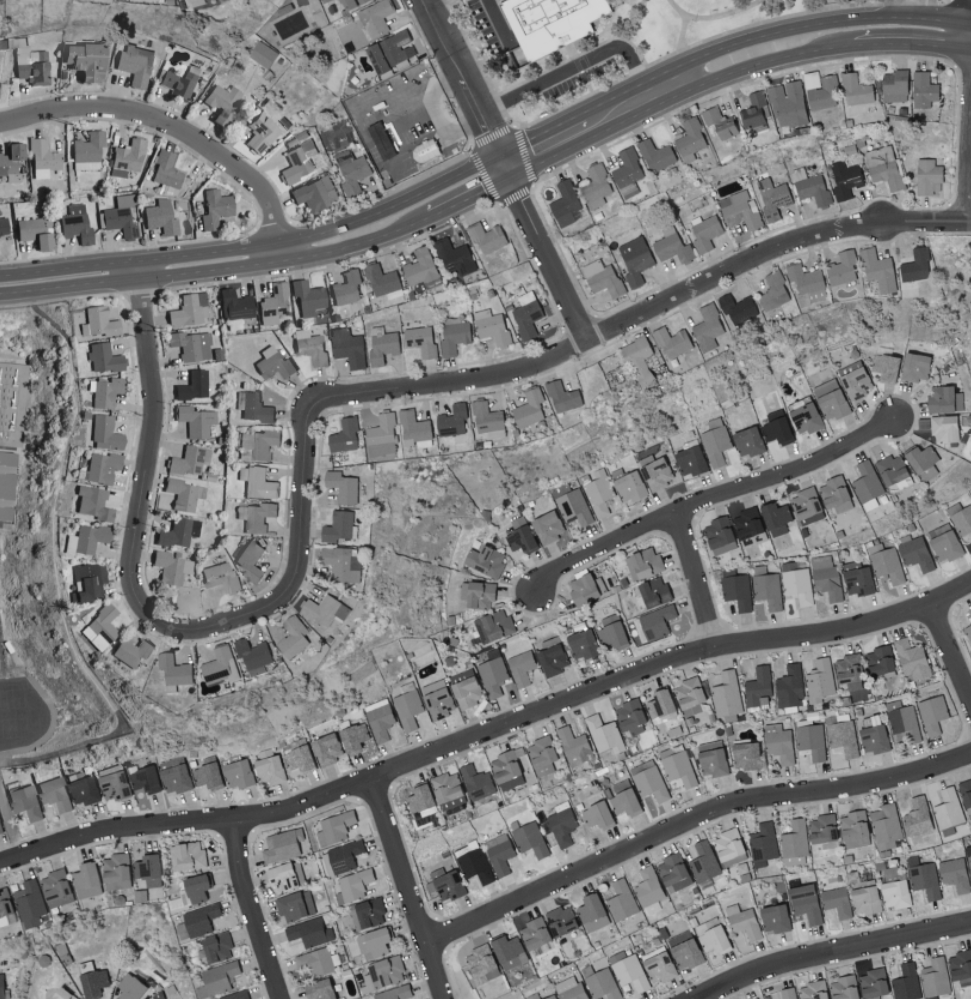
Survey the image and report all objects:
building: (349, 3)
road: (434, 5)
road: (726, 17)
building: (375, 18)
road: (885, 18)
road: (811, 21)
road: (498, 22)
building: (554, 23)
road: (682, 36)
park: (640, 46)
building: (391, 50)
building: (262, 54)
building: (79, 60)
building: (28, 63)
building: (133, 64)
road: (577, 66)
road: (729, 68)
parking lot: (572, 78)
building: (176, 83)
road: (463, 85)
building: (894, 86)
building: (195, 88)
building: (856, 90)
building: (923, 90)
building: (219, 100)
building: (787, 104)
building: (753, 111)
building: (716, 124)
road: (171, 127)
road: (362, 128)
building: (259, 132)
building: (422, 139)
building: (690, 140)
building: (380, 141)
building: (86, 150)
building: (655, 155)
building: (41, 157)
building: (9, 162)
building: (297, 162)
building: (883, 167)
building: (352, 173)
building: (627, 173)
building: (928, 177)
building: (845, 179)
building: (596, 186)
building: (810, 187)
building: (314, 194)
building: (773, 195)
building: (564, 204)
building: (213, 208)
building: (738, 211)
building: (159, 217)
building: (120, 219)
building: (74, 223)
building: (2, 226)
building: (32, 232)
building: (704, 233)
building: (486, 238)
road: (328, 245)
building: (672, 247)
road: (547, 255)
road: (772, 257)
building: (455, 258)
building: (634, 260)
building: (915, 266)
building: (421, 269)
building: (841, 269)
building: (877, 271)
building: (601, 278)
road: (68, 279)
building: (382, 281)
building: (806, 284)
building: (345, 288)
building: (773, 292)
building: (306, 297)
building: (273, 304)
building: (233, 305)
building: (187, 309)
building: (736, 310)
building: (526, 318)
building: (97, 322)
building: (491, 327)
building: (707, 328)
building: (454, 335)
building: (420, 341)
building: (671, 342)
building: (189, 345)
building: (310, 346)
building: (347, 347)
building: (102, 358)
building: (637, 360)
building: (272, 363)
building: (884, 368)
building: (914, 368)
building: (855, 384)
building: (191, 386)
building: (561, 397)
building: (829, 400)
building: (943, 400)
building: (253, 407)
building: (528, 409)
building: (15, 413)
road: (313, 417)
building: (804, 419)
building: (194, 420)
building: (487, 420)
building: (452, 422)
building: (414, 429)
building: (942, 429)
building: (776, 430)
building: (104, 431)
building: (380, 435)
building: (343, 436)
building: (714, 442)
building: (746, 443)
building: (258, 444)
building: (919, 459)
building: (188, 460)
building: (689, 462)
road: (150, 465)
building: (100, 467)
building: (891, 470)
building: (654, 472)
building: (866, 482)
building: (257, 483)
building: (627, 485)
building: (342, 487)
building: (182, 493)
building: (598, 493)
building: (10, 495)
building: (834, 495)
road: (711, 498)
building: (90, 502)
building: (573, 507)
building: (806, 507)
building: (255, 517)
building: (774, 519)
building: (963, 523)
building: (339, 527)
building: (546, 528)
building: (748, 528)
building: (177, 532)
building: (718, 537)
building: (86, 538)
building: (519, 540)
building: (943, 543)
building: (916, 554)
building: (249, 561)
building: (484, 561)
building: (341, 564)
building: (644, 564)
building: (886, 564)
building: (169, 567)
building: (219, 577)
building: (825, 577)
road: (696, 579)
building: (857, 580)
building: (84, 582)
building: (798, 586)
building: (587, 588)
building: (767, 588)
building: (737, 591)
building: (477, 595)
building: (651, 595)
building: (324, 611)
building: (969, 612)
building: (656, 623)
building: (2, 624)
building: (493, 626)
building: (98, 627)
building: (968, 631)
building: (612, 633)
building: (292, 637)
building: (582, 645)
road: (950, 648)
building: (130, 651)
building: (552, 657)
building: (911, 659)
building: (878, 660)
building: (216, 665)
building: (521, 668)
building: (173, 671)
building: (849, 671)
building: (492, 676)
building: (820, 680)
building: (757, 687)
building: (789, 687)
building: (466, 692)
building: (726, 694)
building: (689, 696)
building: (659, 703)
building: (438, 704)
building: (407, 707)
building: (629, 714)
building: (932, 714)
building: (379, 720)
building: (903, 723)
road: (487, 732)
building: (603, 734)
building: (872, 734)
building: (353, 738)
building: (842, 739)
building: (810, 741)
building: (778, 743)
building: (573, 746)
building: (326, 749)
building: (745, 755)
building: (541, 756)
building: (711, 759)
building: (297, 760)
building: (677, 765)
building: (504, 766)
building: (267, 770)
building: (237, 775)
building: (206, 776)
building: (176, 779)
building: (145, 780)
building: (649, 780)
building: (476, 782)
building: (511, 782)
building: (114, 786)
building: (83, 791)
building: (448, 793)
building: (54, 794)
building: (966, 795)
building: (418, 798)
building: (623, 801)
building: (25, 802)
building: (947, 808)
building: (595, 814)
building: (917, 817)
building: (562, 824)
building: (885, 826)
building: (334, 827)
building: (822, 828)
building: (854, 829)
building: (0, 831)
road: (692, 834)
building: (530, 839)
building: (795, 843)
building: (763, 844)
building: (281, 845)
building: (727, 845)
building: (499, 854)
building: (968, 854)
building: (187, 856)
building: (343, 856)
building: (703, 862)
building: (475, 865)
building: (146, 866)
building: (116, 872)
building: (673, 872)
building: (954, 874)
building: (281, 878)
building: (86, 880)
building: (925, 880)
building: (447, 884)
building: (353, 886)
building: (195, 888)
road: (408, 888)
building: (56, 889)
building: (649, 891)
building: (895, 894)
building: (140, 896)
building: (865, 897)
building: (621, 901)
building: (836, 902)
building: (5, 903)
building: (805, 903)
building: (30, 904)
building: (295, 905)
road: (254, 913)
building: (367, 913)
building: (591, 913)
building: (774, 919)
building: (561, 920)
building: (742, 921)
building: (196, 922)
building: (309, 933)
building: (533, 933)
building: (712, 941)
building: (373, 943)
building: (683, 950)
building: (507, 952)
road: (838, 955)
building: (320, 962)
building: (480, 964)
building: (658, 967)
building: (960, 967)
building: (628, 971)
building: (381, 974)
building: (218, 977)
building: (934, 977)
building: (92, 982)
building: (906, 982)
building: (600, 983)
building: (873, 983)
building: (0, 987)
building: (129, 987)
building: (570, 988)
building: (319, 990)
building: (813, 990)
building: (395, 993)
building: (789, 993)
building: (60, 994)
building: (237, 996)
building: (533, 996)
building: (550, 997)
building: (930, 997)

